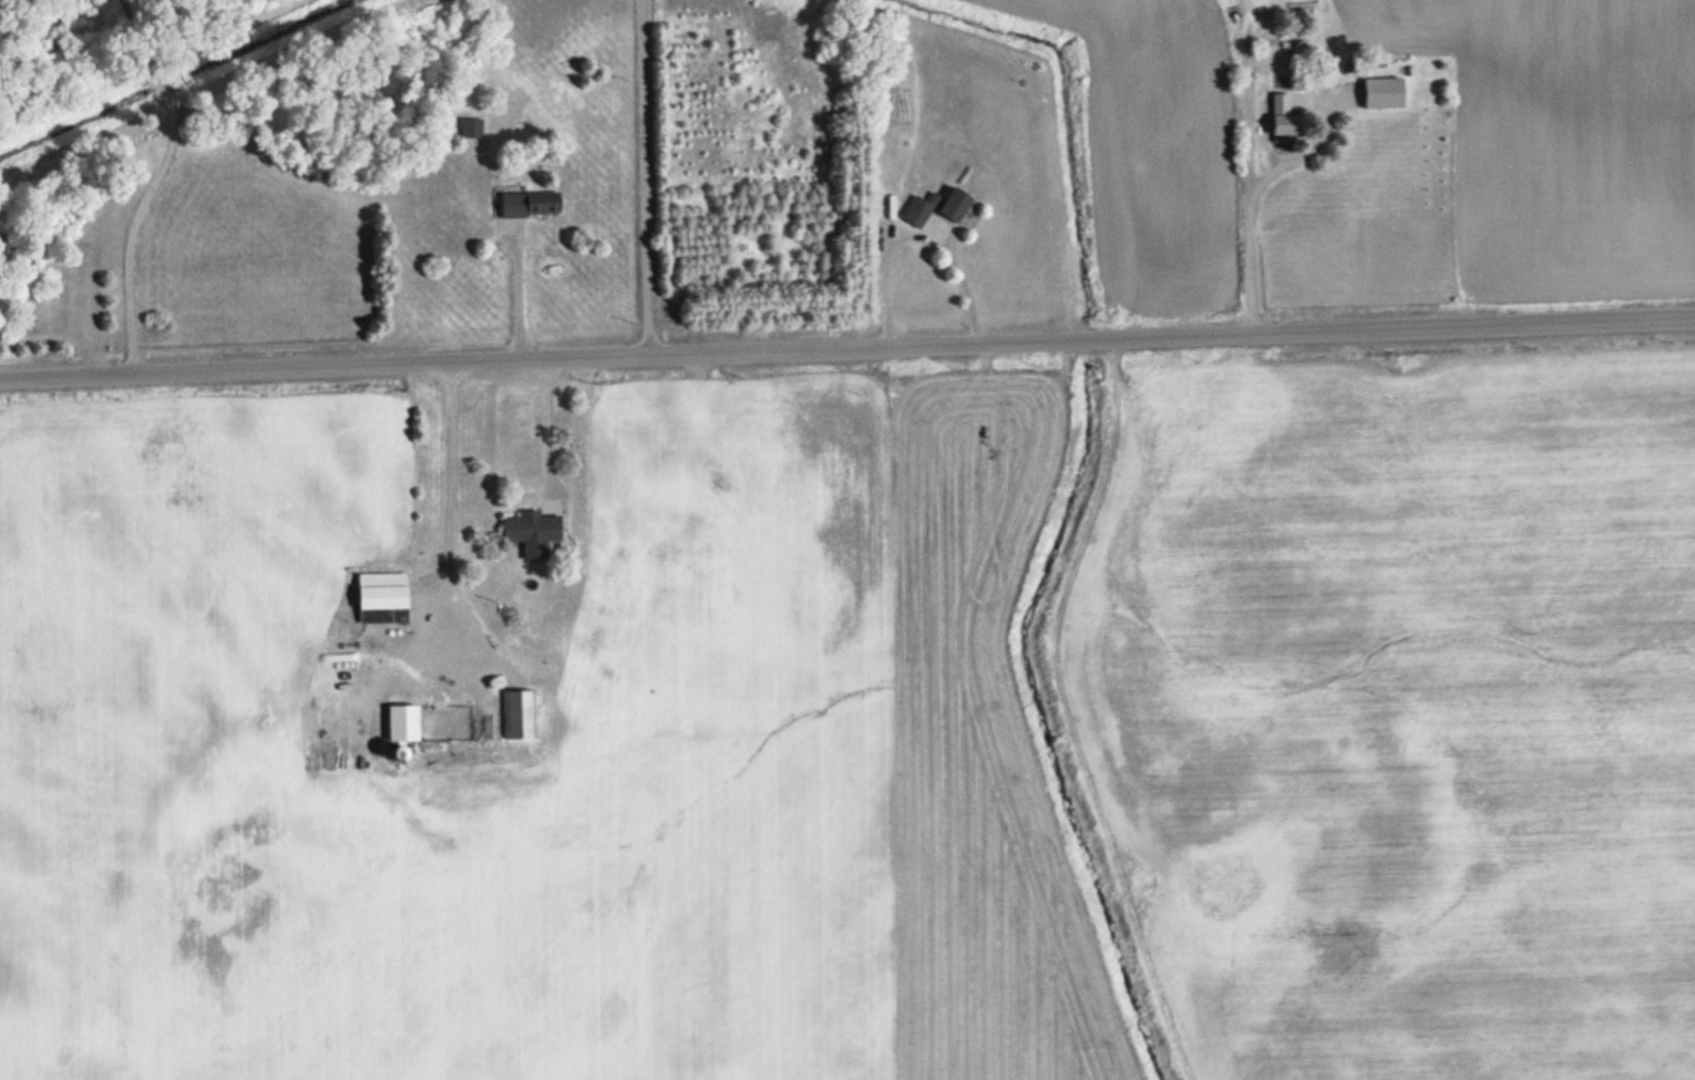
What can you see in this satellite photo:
building: (1275, 113)
building: (474, 128)
building: (534, 204)
building: (941, 206)
road: (847, 346)
building: (536, 533)
building: (388, 590)
building: (520, 714)
building: (398, 721)
building: (485, 730)

